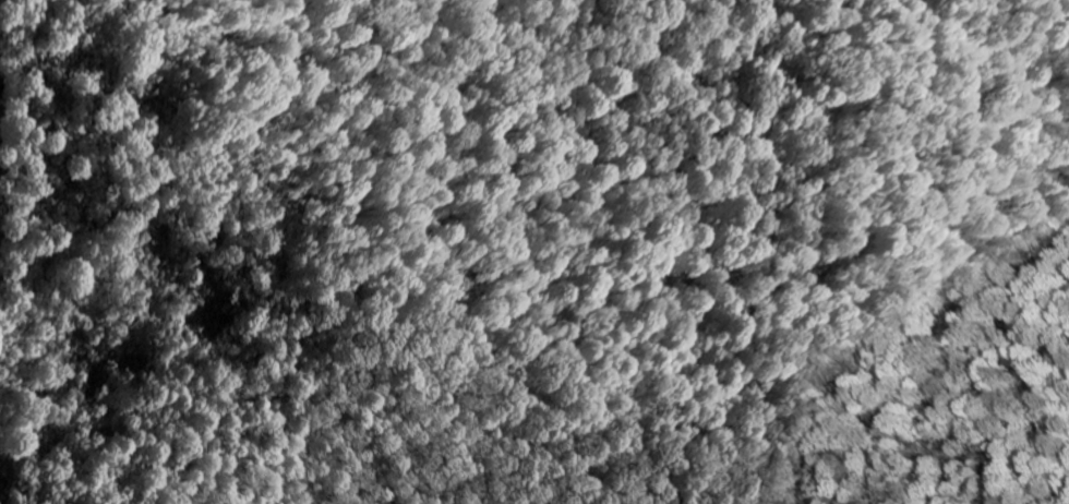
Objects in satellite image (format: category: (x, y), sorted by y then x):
road: (11, 39)

